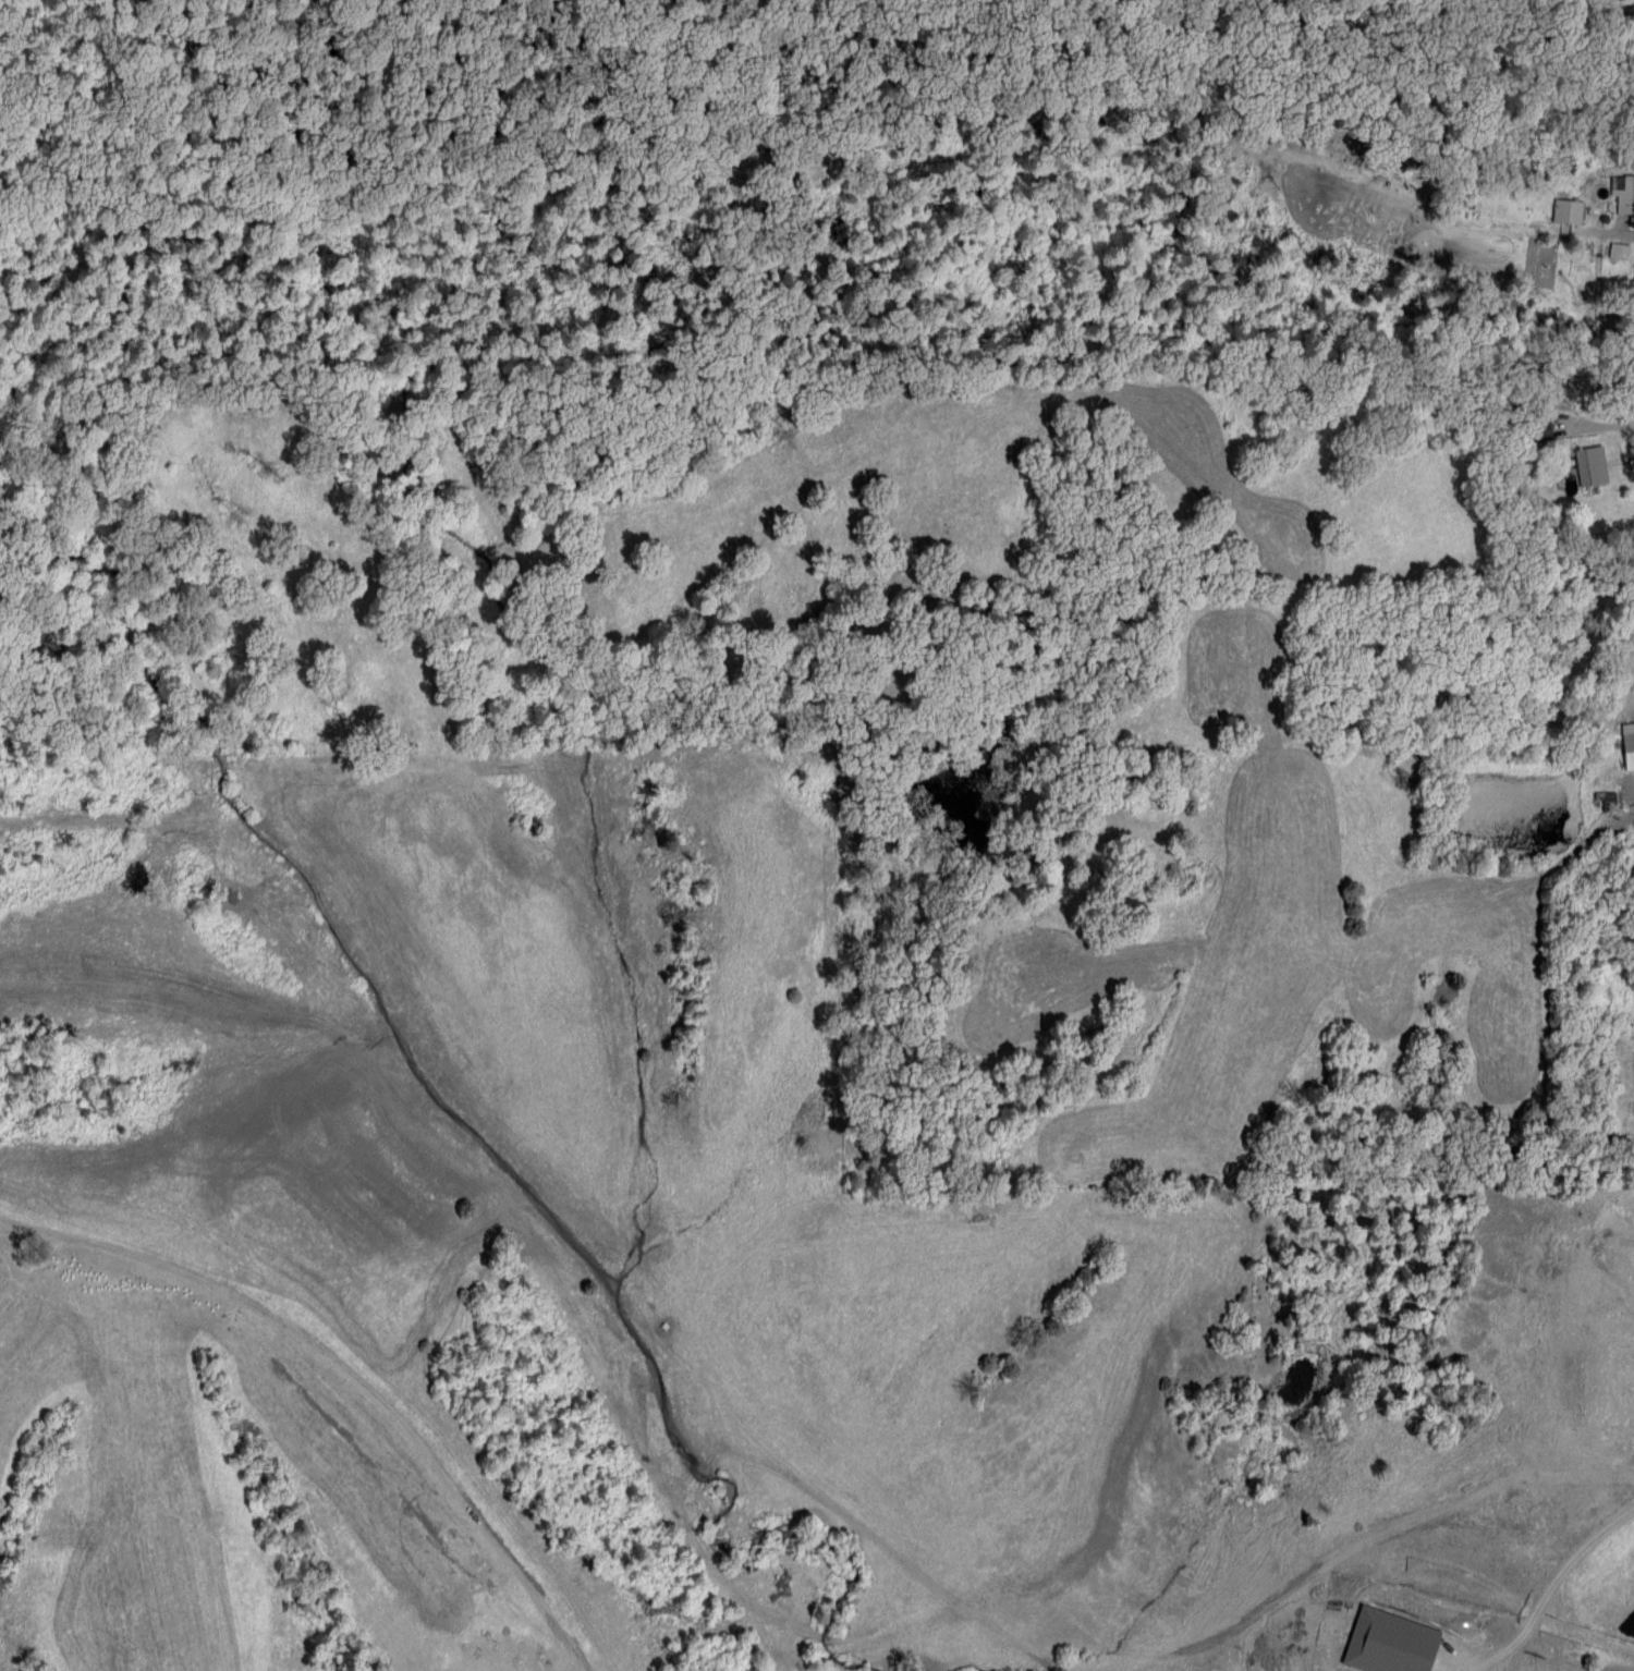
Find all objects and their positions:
building: (1624, 195)
building: (1564, 211)
building: (1537, 430)
road: (1611, 437)
building: (1587, 466)
building: (1625, 746)
building: (1633, 853)

